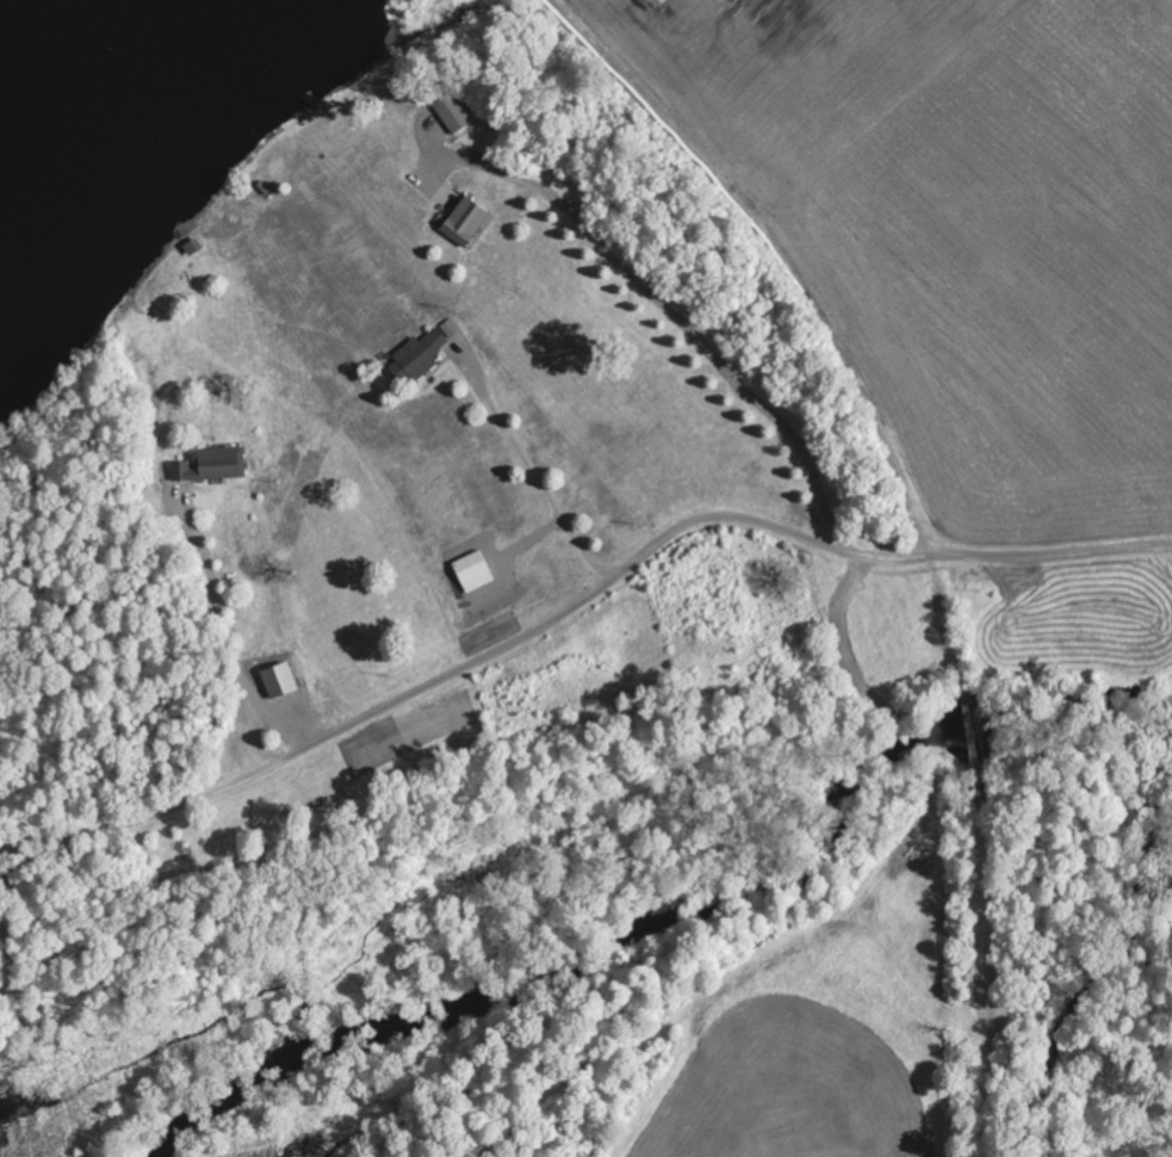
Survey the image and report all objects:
building: (453, 115)
building: (465, 222)
building: (423, 352)
building: (213, 463)
road: (529, 471)
road: (576, 605)
road: (224, 635)
building: (279, 679)

